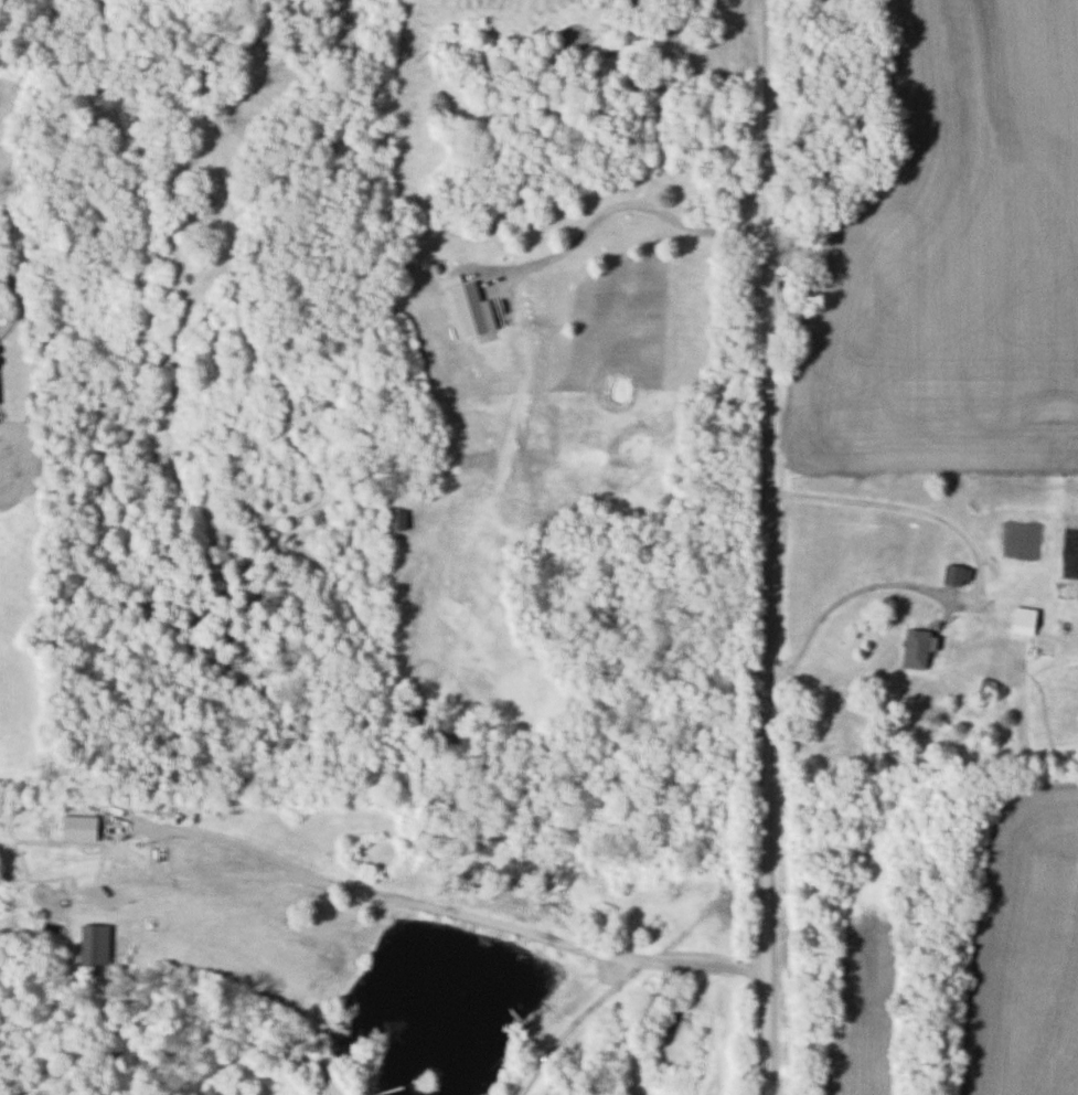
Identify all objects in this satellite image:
building: (289, 10)
building: (207, 191)
road: (623, 206)
building: (470, 310)
building: (394, 520)
road: (765, 546)
building: (954, 575)
road: (980, 591)
building: (1021, 620)
building: (915, 649)
building: (76, 828)
road: (450, 911)
building: (92, 945)

